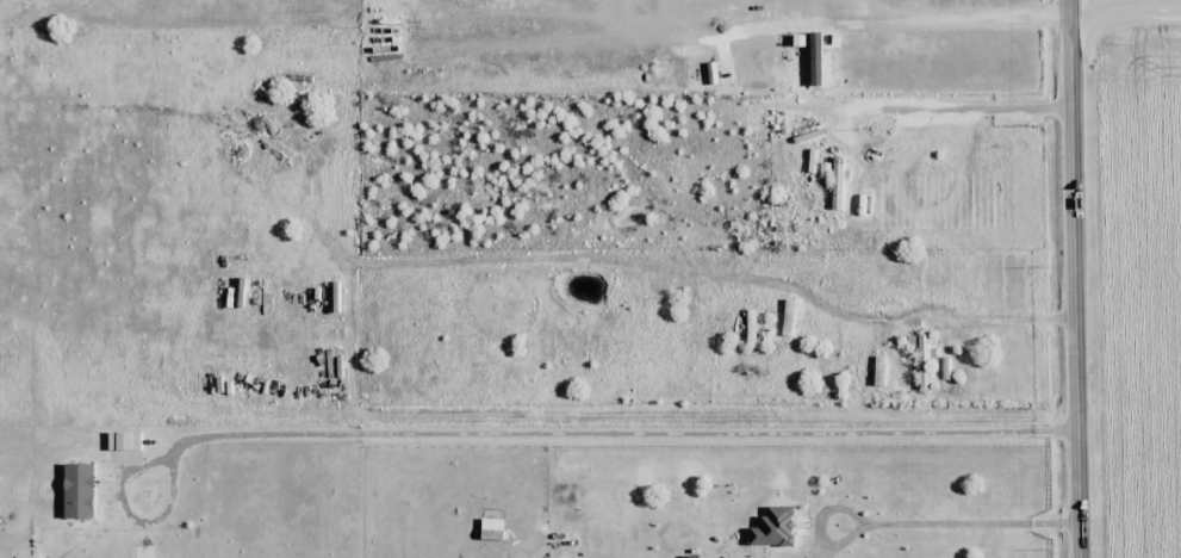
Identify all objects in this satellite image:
building: (837, 182)
crop: (1140, 273)
road: (1080, 278)
building: (657, 322)
building: (787, 322)
building: (750, 325)
building: (922, 359)
building: (77, 490)
road: (903, 525)
building: (491, 533)

